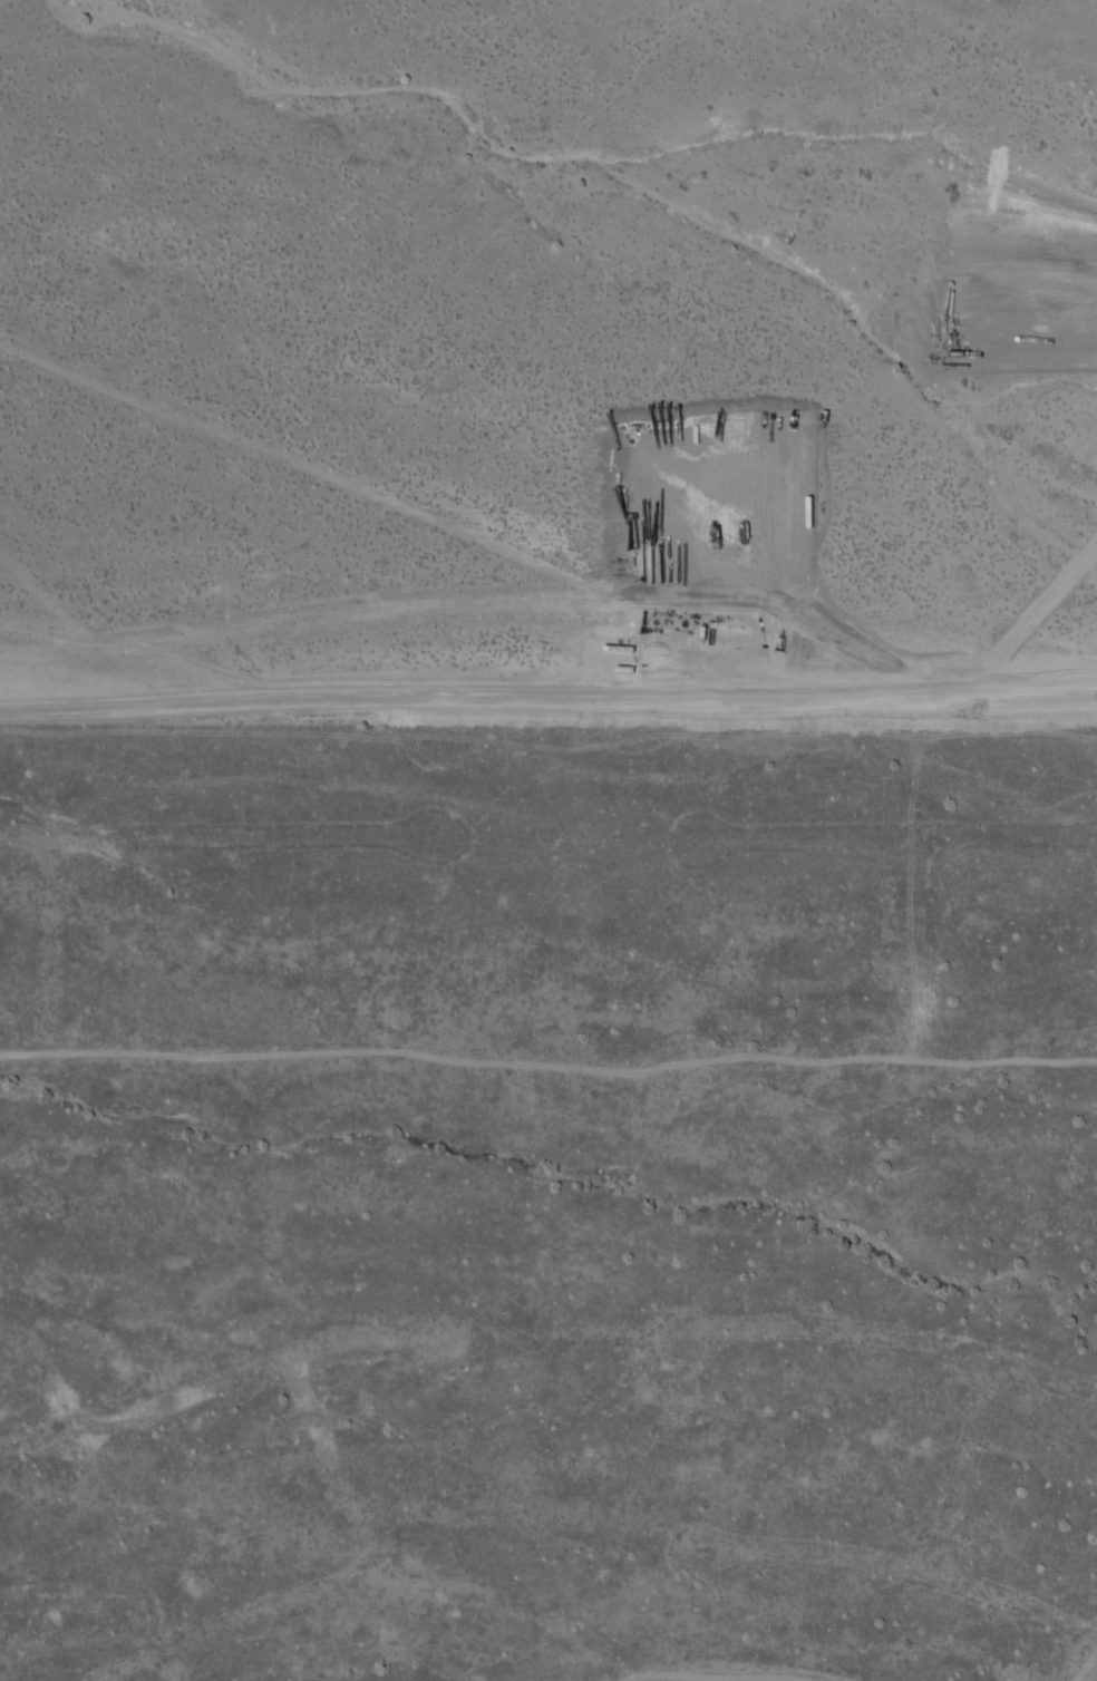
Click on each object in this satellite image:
road: (547, 693)

